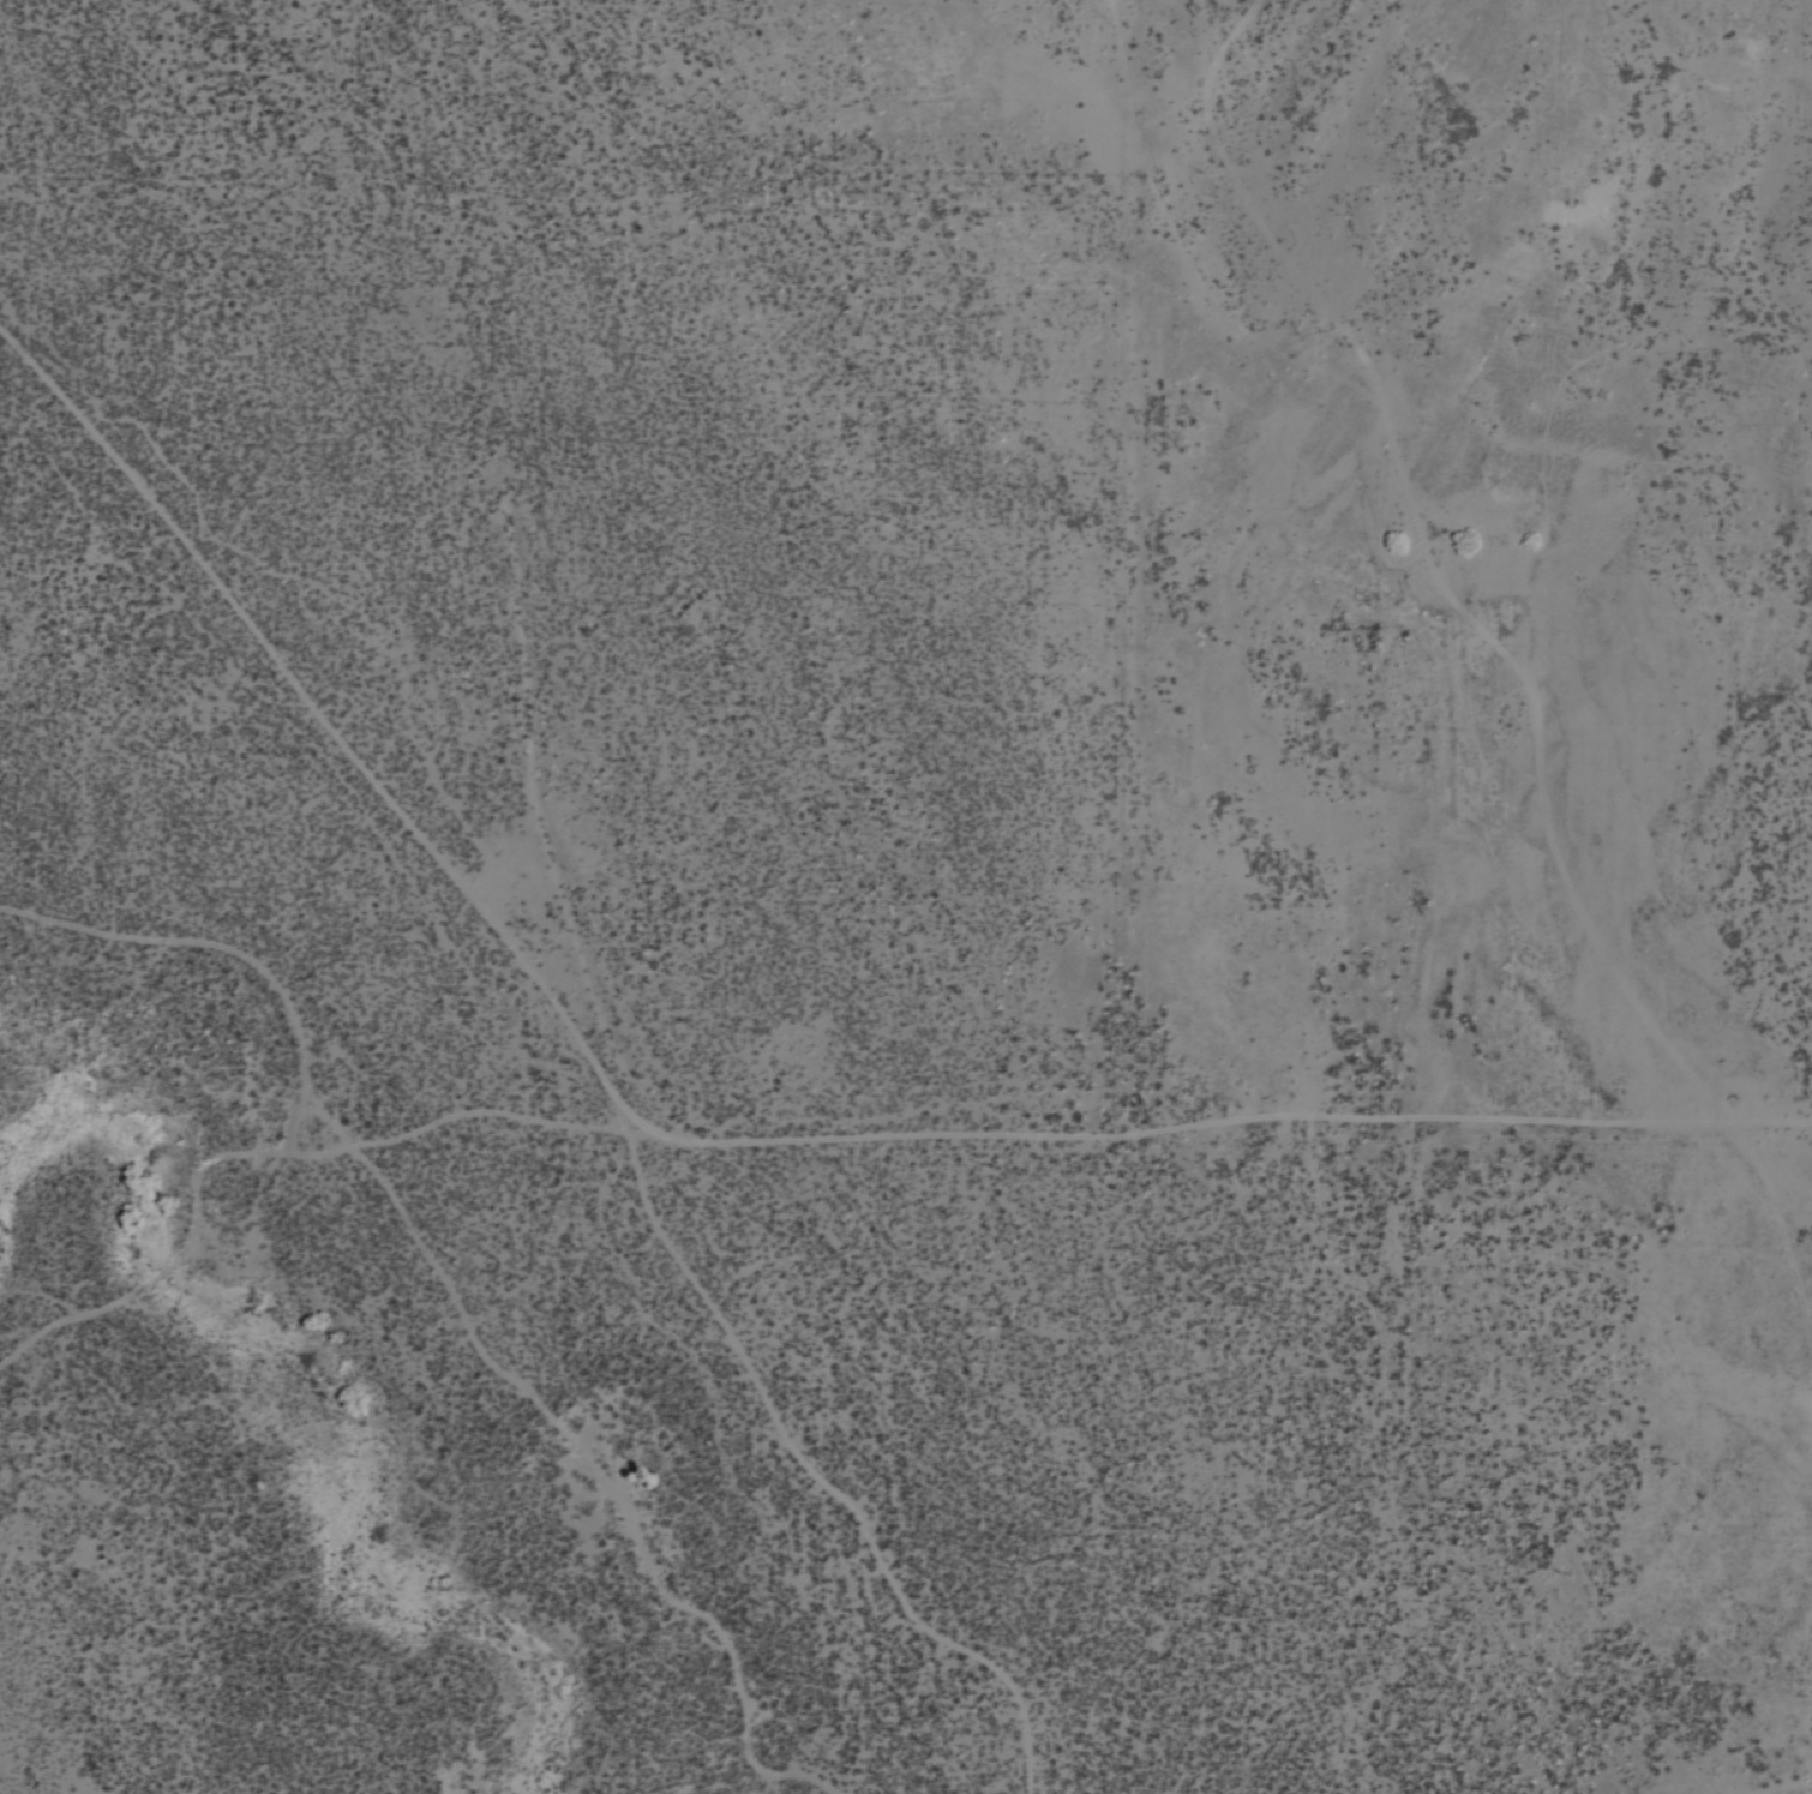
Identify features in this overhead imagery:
road: (1222, 103)
road: (577, 1030)
road: (306, 1114)
road: (1052, 1132)
road: (178, 1267)
road: (461, 1300)

